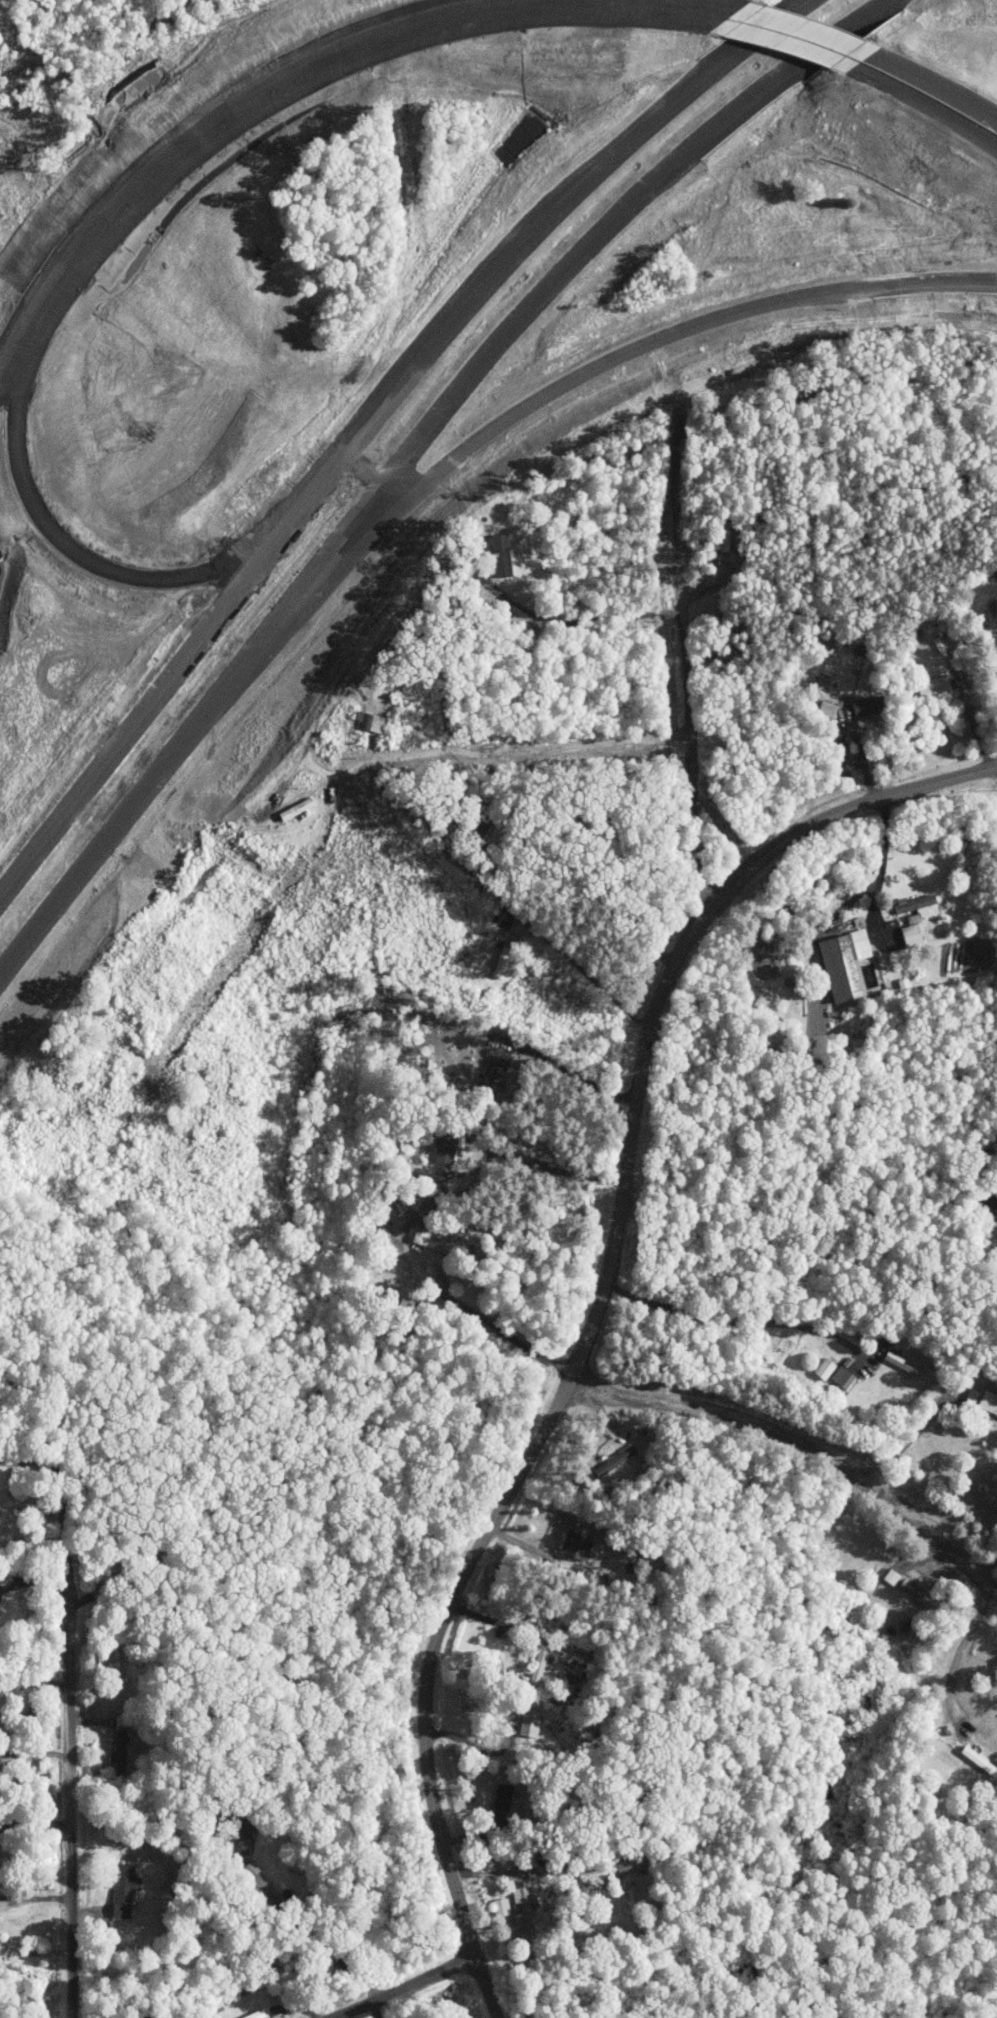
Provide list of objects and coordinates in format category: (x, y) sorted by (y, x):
road: (728, 3)
road: (806, 25)
road: (785, 40)
road: (349, 62)
road: (929, 78)
road: (687, 91)
road: (920, 100)
road: (200, 123)
road: (449, 328)
road: (537, 399)
road: (406, 451)
building: (506, 554)
road: (88, 557)
road: (683, 669)
road: (166, 687)
building: (937, 687)
building: (864, 707)
building: (376, 721)
building: (917, 917)
building: (504, 962)
building: (847, 963)
road: (589, 975)
building: (768, 999)
building: (448, 1146)
road: (530, 1166)
road: (978, 1170)
building: (433, 1240)
road: (470, 1310)
road: (595, 1314)
road: (738, 1322)
building: (903, 1363)
building: (827, 1368)
building: (845, 1376)
building: (989, 1402)
road: (912, 1440)
road: (805, 1441)
building: (618, 1460)
road: (62, 1489)
building: (579, 1545)
road: (962, 1649)
building: (122, 1749)
road: (70, 1794)
building: (504, 1797)
building: (237, 1840)
building: (632, 1864)
building: (126, 1888)
road: (35, 1896)
building: (502, 1906)
building: (522, 1906)
road: (406, 1987)
building: (257, 2014)

